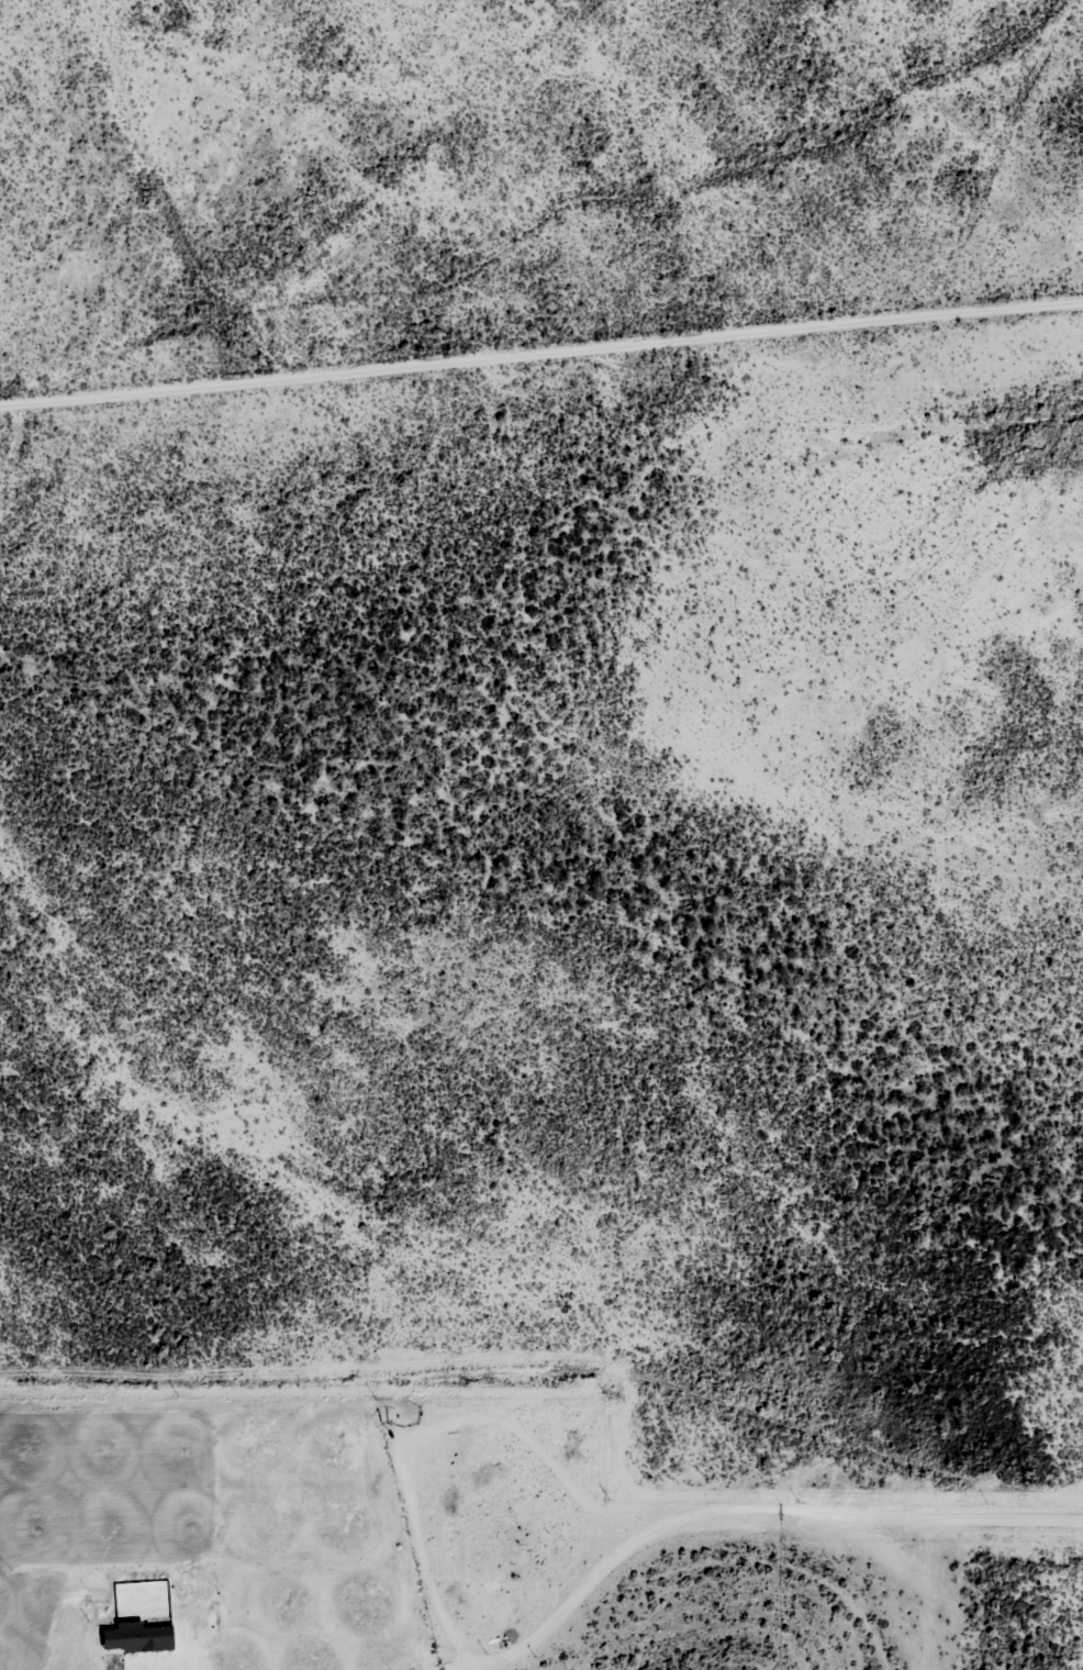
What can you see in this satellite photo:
road: (963, 146)
road: (179, 189)
road: (540, 352)
road: (750, 1533)

